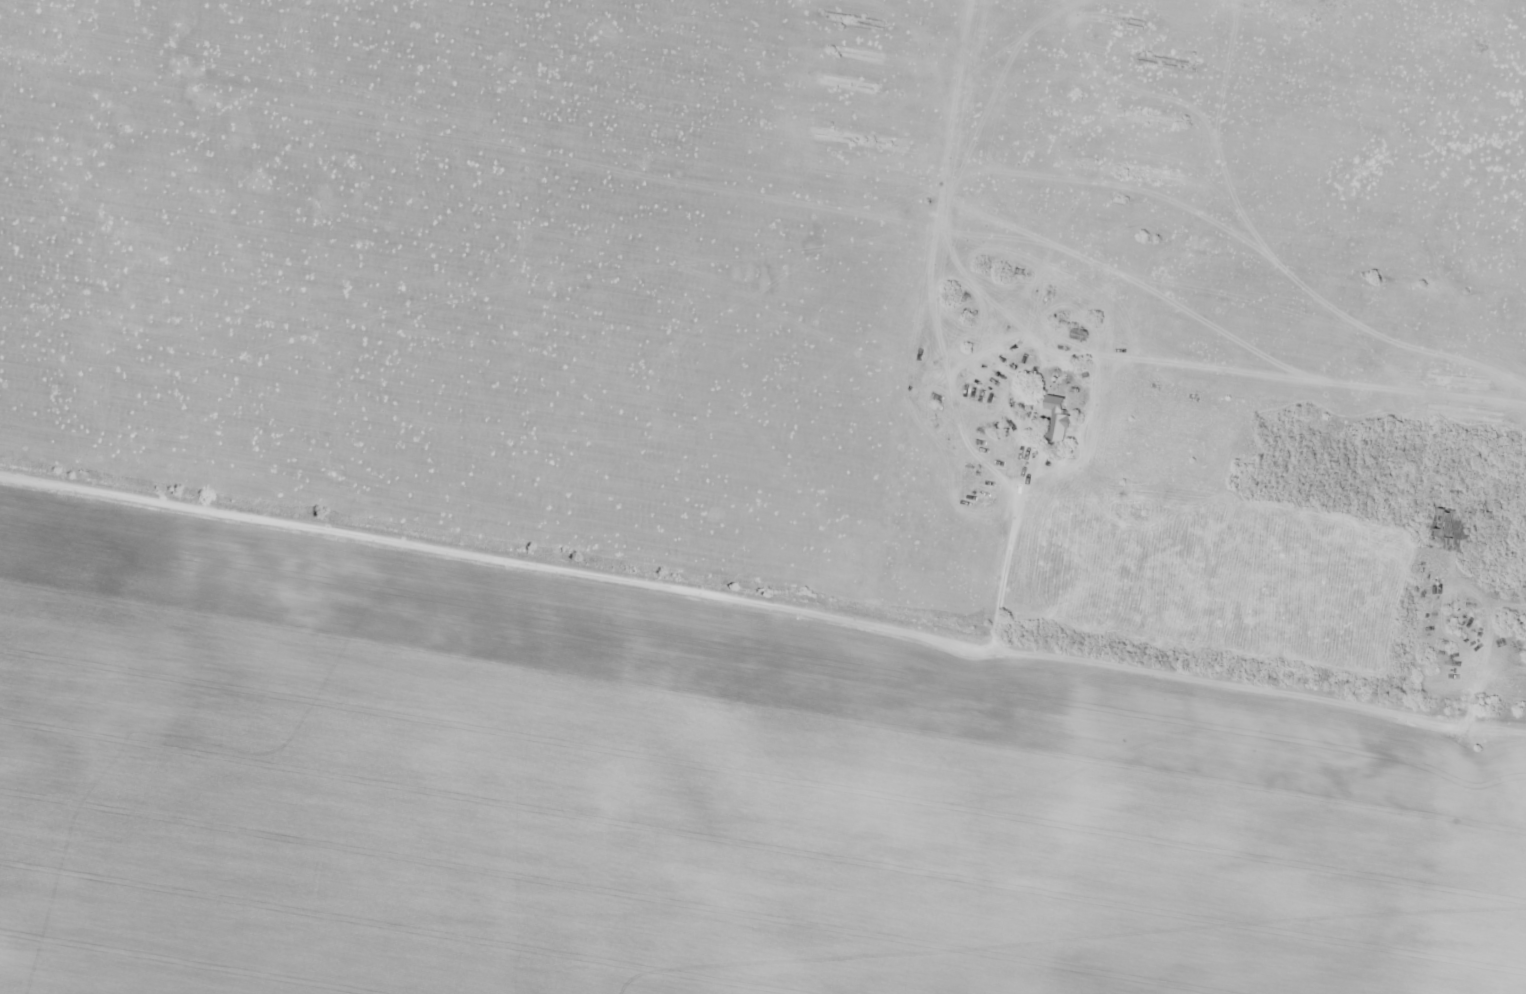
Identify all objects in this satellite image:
building: (1058, 416)
road: (781, 620)

